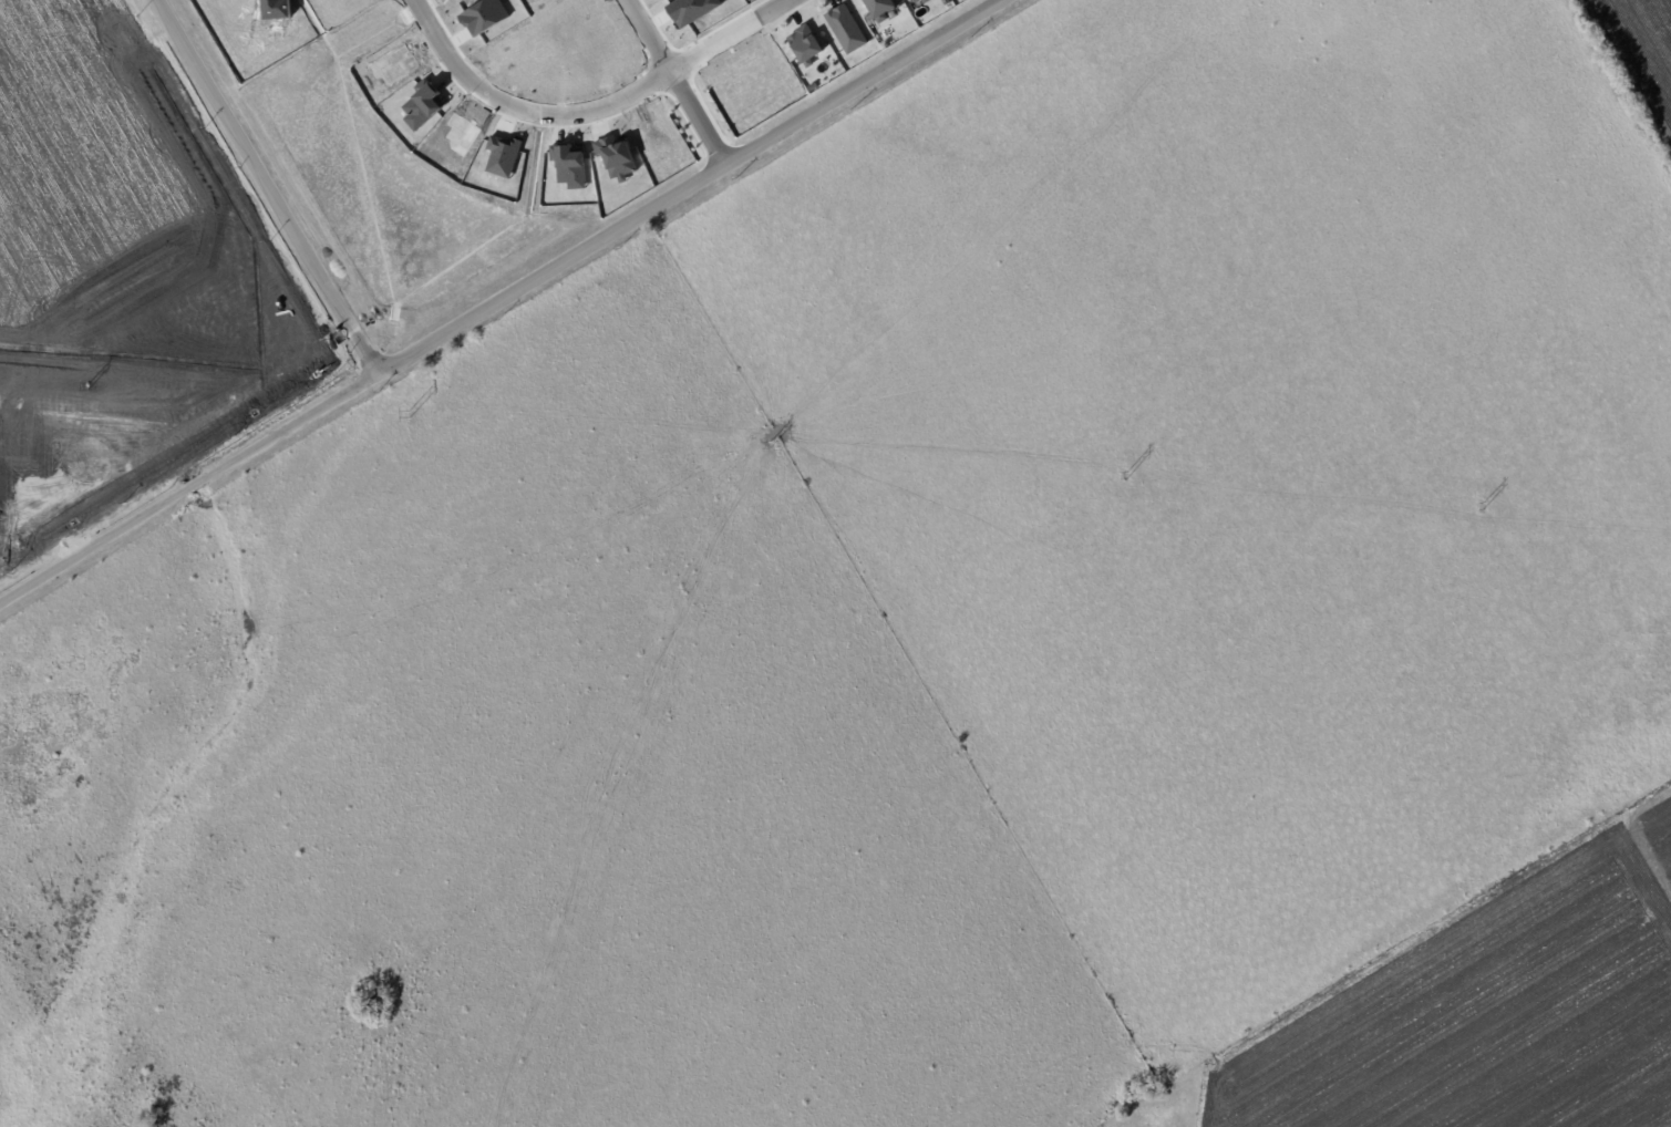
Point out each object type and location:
building: (911, 0)
building: (875, 7)
building: (843, 28)
road: (729, 35)
building: (801, 42)
road: (674, 81)
road: (522, 108)
road: (687, 185)
road: (267, 186)
power tower: (100, 392)
power tower: (421, 418)
power tower: (780, 448)
power tower: (1111, 478)
road: (188, 489)
power tower: (1475, 507)

